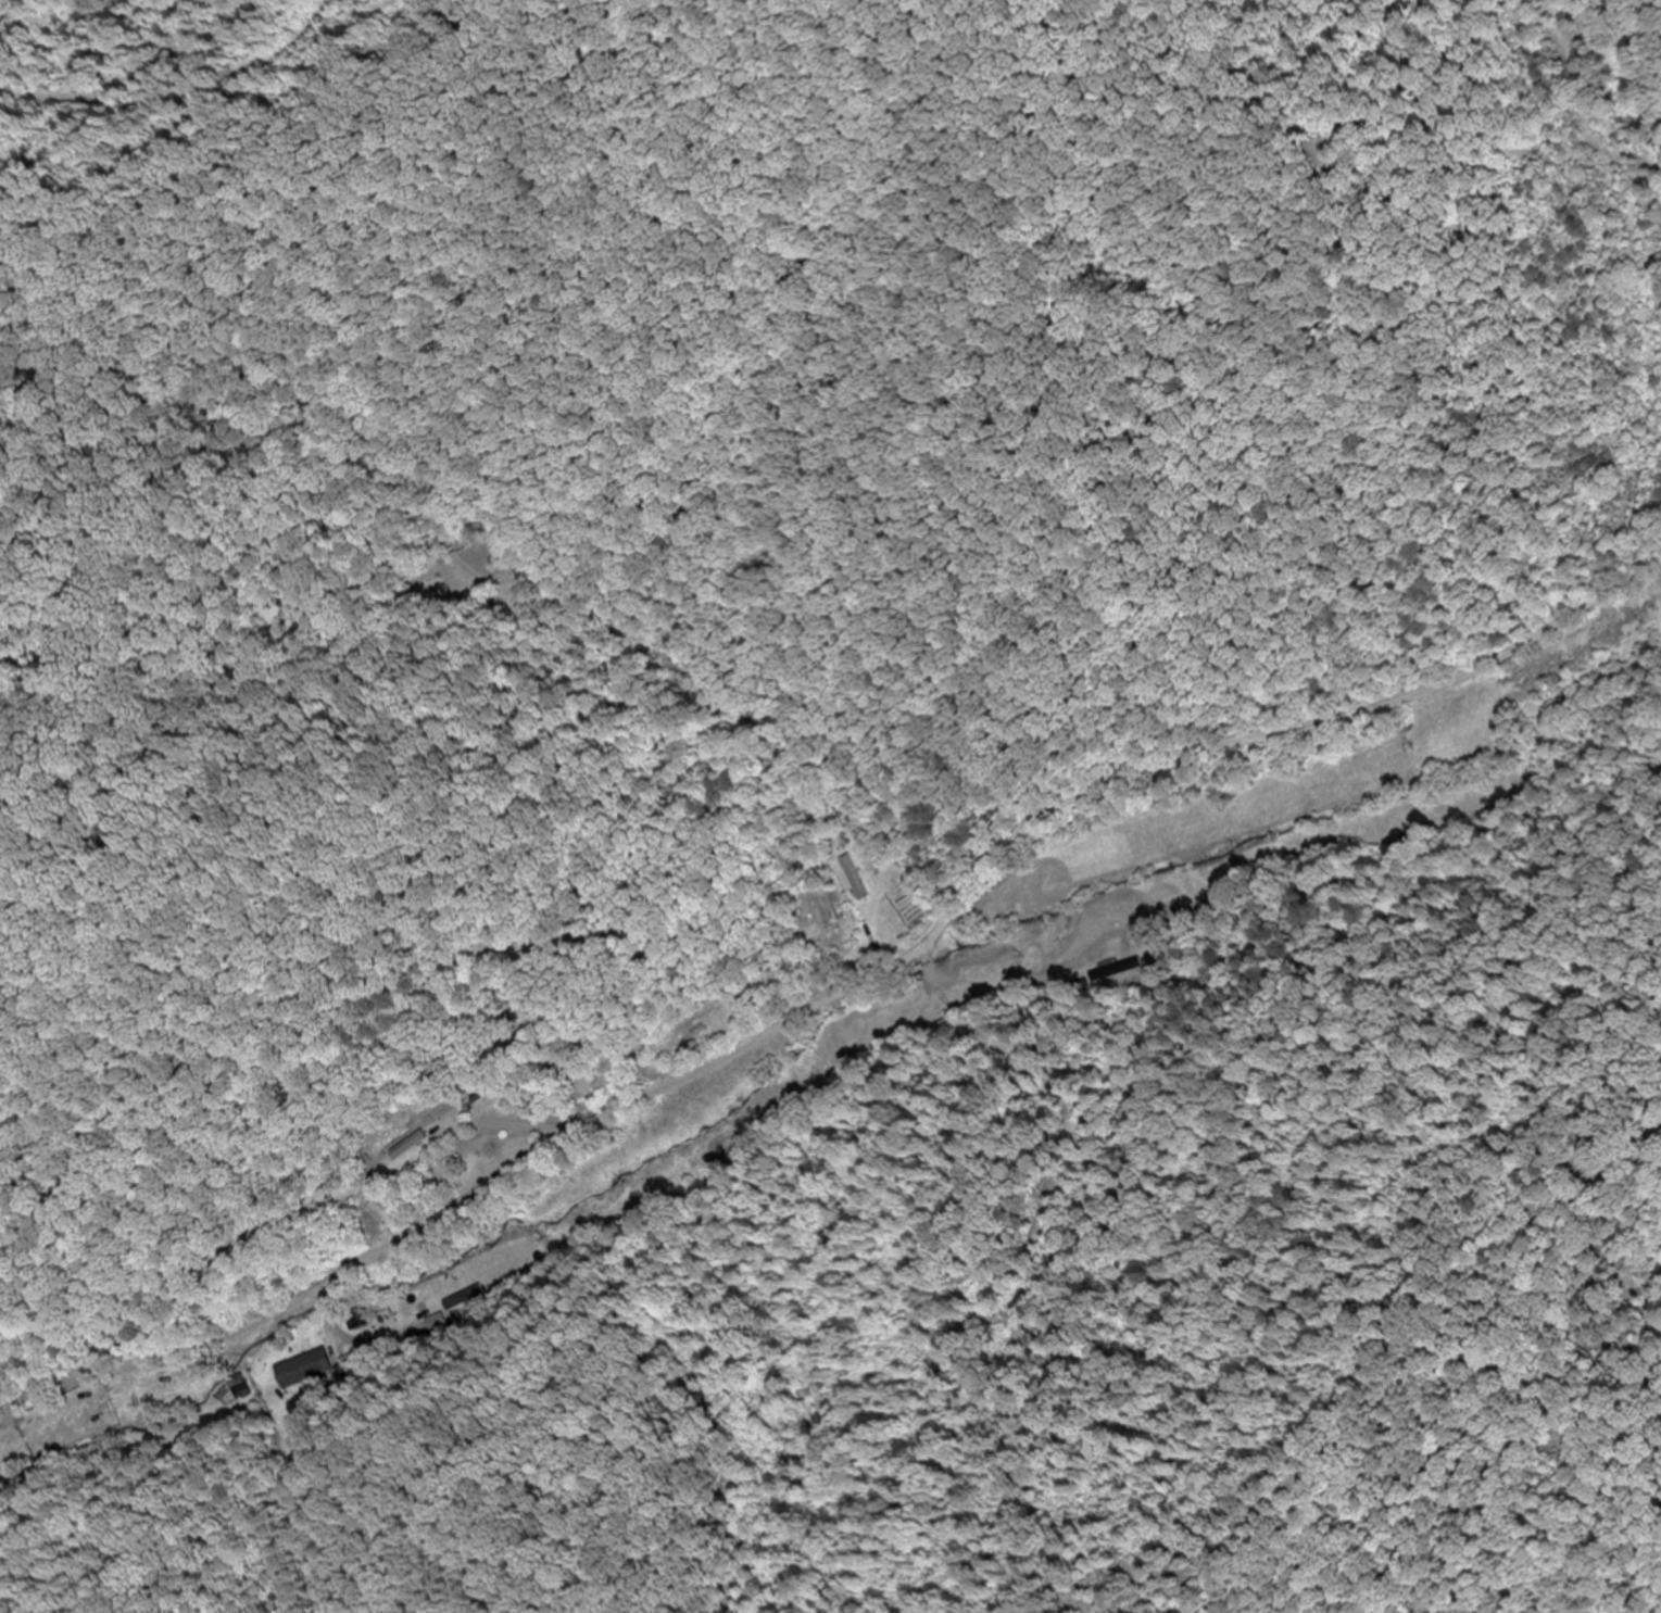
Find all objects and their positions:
building: (851, 880)
building: (1009, 902)
building: (1119, 971)
road: (843, 990)
building: (301, 1371)
building: (161, 1381)

